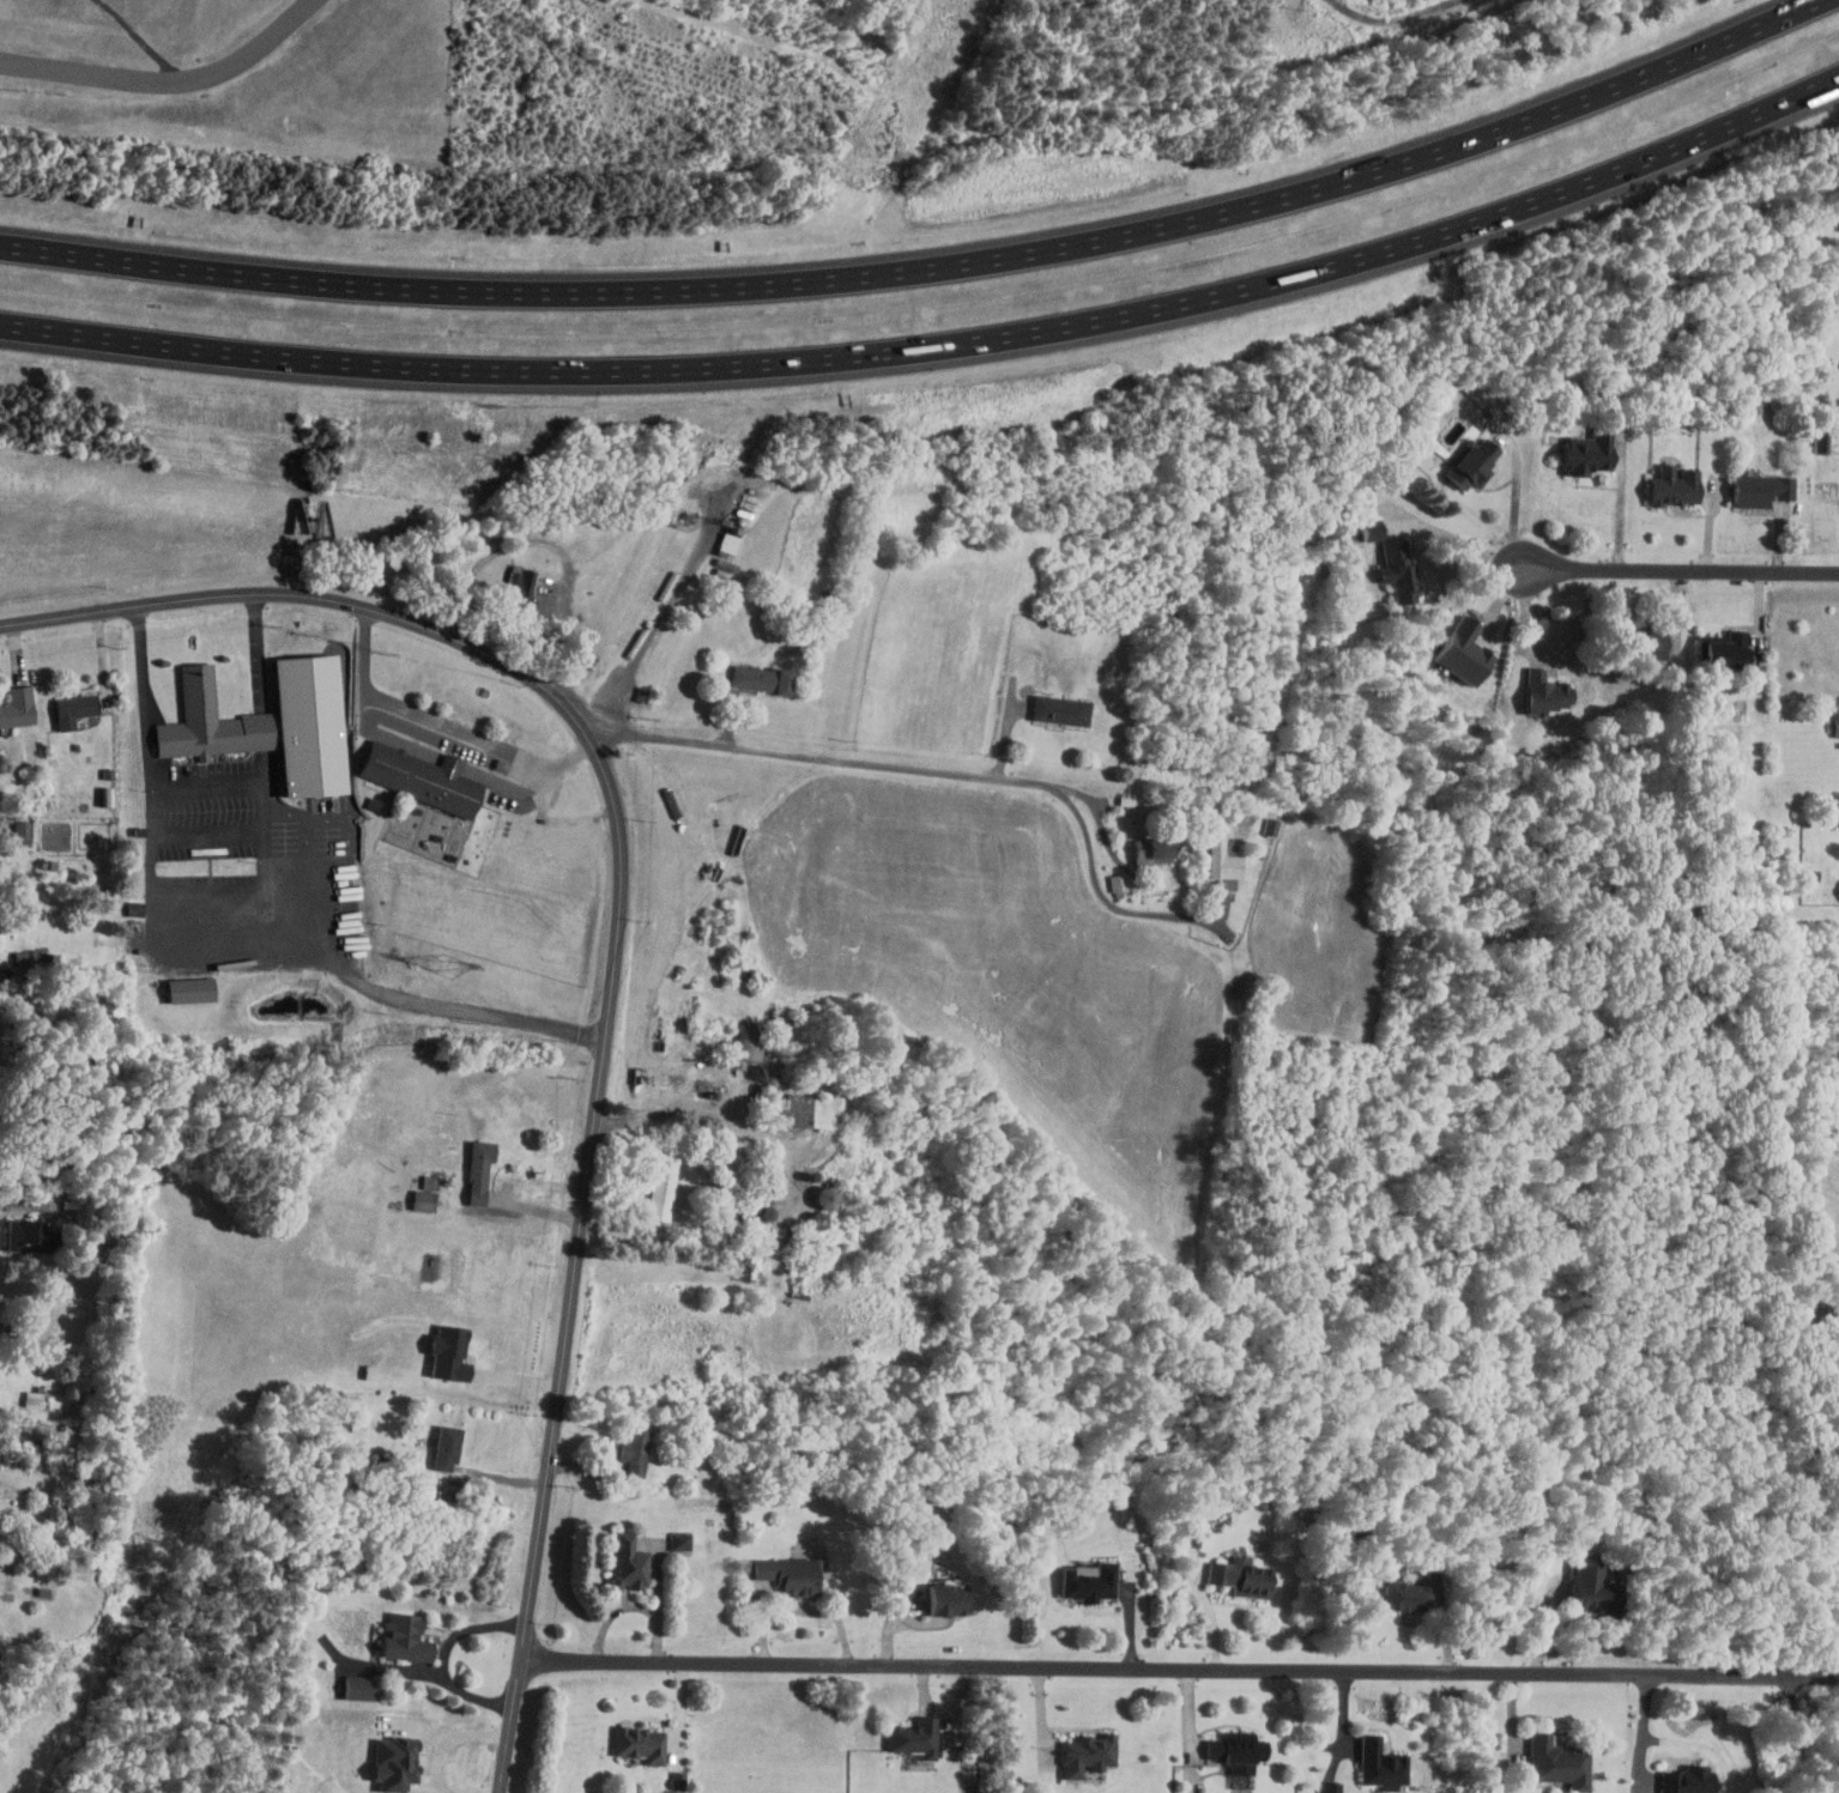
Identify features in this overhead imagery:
road: (1392, 18)
road: (164, 80)
road: (931, 272)
road: (938, 346)
building: (1821, 440)
building: (1586, 452)
building: (1477, 462)
building: (1676, 486)
building: (1760, 491)
road: (1519, 497)
road: (1620, 514)
building: (1369, 528)
road: (1462, 539)
road: (555, 546)
building: (1401, 570)
road: (1681, 574)
building: (519, 584)
road: (652, 637)
building: (1640, 640)
road: (260, 647)
building: (1457, 653)
building: (1730, 653)
building: (757, 678)
building: (1547, 692)
building: (18, 707)
building: (75, 708)
building: (1059, 709)
building: (207, 720)
building: (308, 723)
road: (441, 726)
building: (1837, 726)
road: (825, 757)
building: (423, 781)
road: (326, 817)
road: (210, 830)
building: (22, 831)
road: (308, 834)
building: (1150, 852)
road: (267, 853)
road: (309, 854)
building: (1223, 861)
parking lot: (206, 865)
building: (1118, 882)
road: (1106, 897)
road: (615, 949)
road: (226, 955)
building: (188, 989)
road: (716, 1107)
building: (805, 1109)
building: (478, 1168)
building: (661, 1192)
building: (422, 1199)
road: (18, 1204)
building: (28, 1237)
building: (450, 1352)
building: (370, 1371)
building: (31, 1399)
building: (450, 1447)
building: (637, 1459)
building: (679, 1540)
building: (629, 1559)
building: (787, 1577)
building: (1241, 1579)
building: (1088, 1583)
building: (1591, 1586)
building: (945, 1598)
building: (1404, 1598)
building: (406, 1636)
road: (443, 1655)
road: (1180, 1667)
building: (356, 1686)
road: (1645, 1730)
road: (1791, 1734)
building: (914, 1736)
road: (448, 1741)
building: (636, 1744)
building: (1238, 1751)
building: (1083, 1753)
building: (1554, 1761)
building: (393, 1763)
building: (1379, 1763)
building: (1683, 1779)
building: (1330, 1787)

